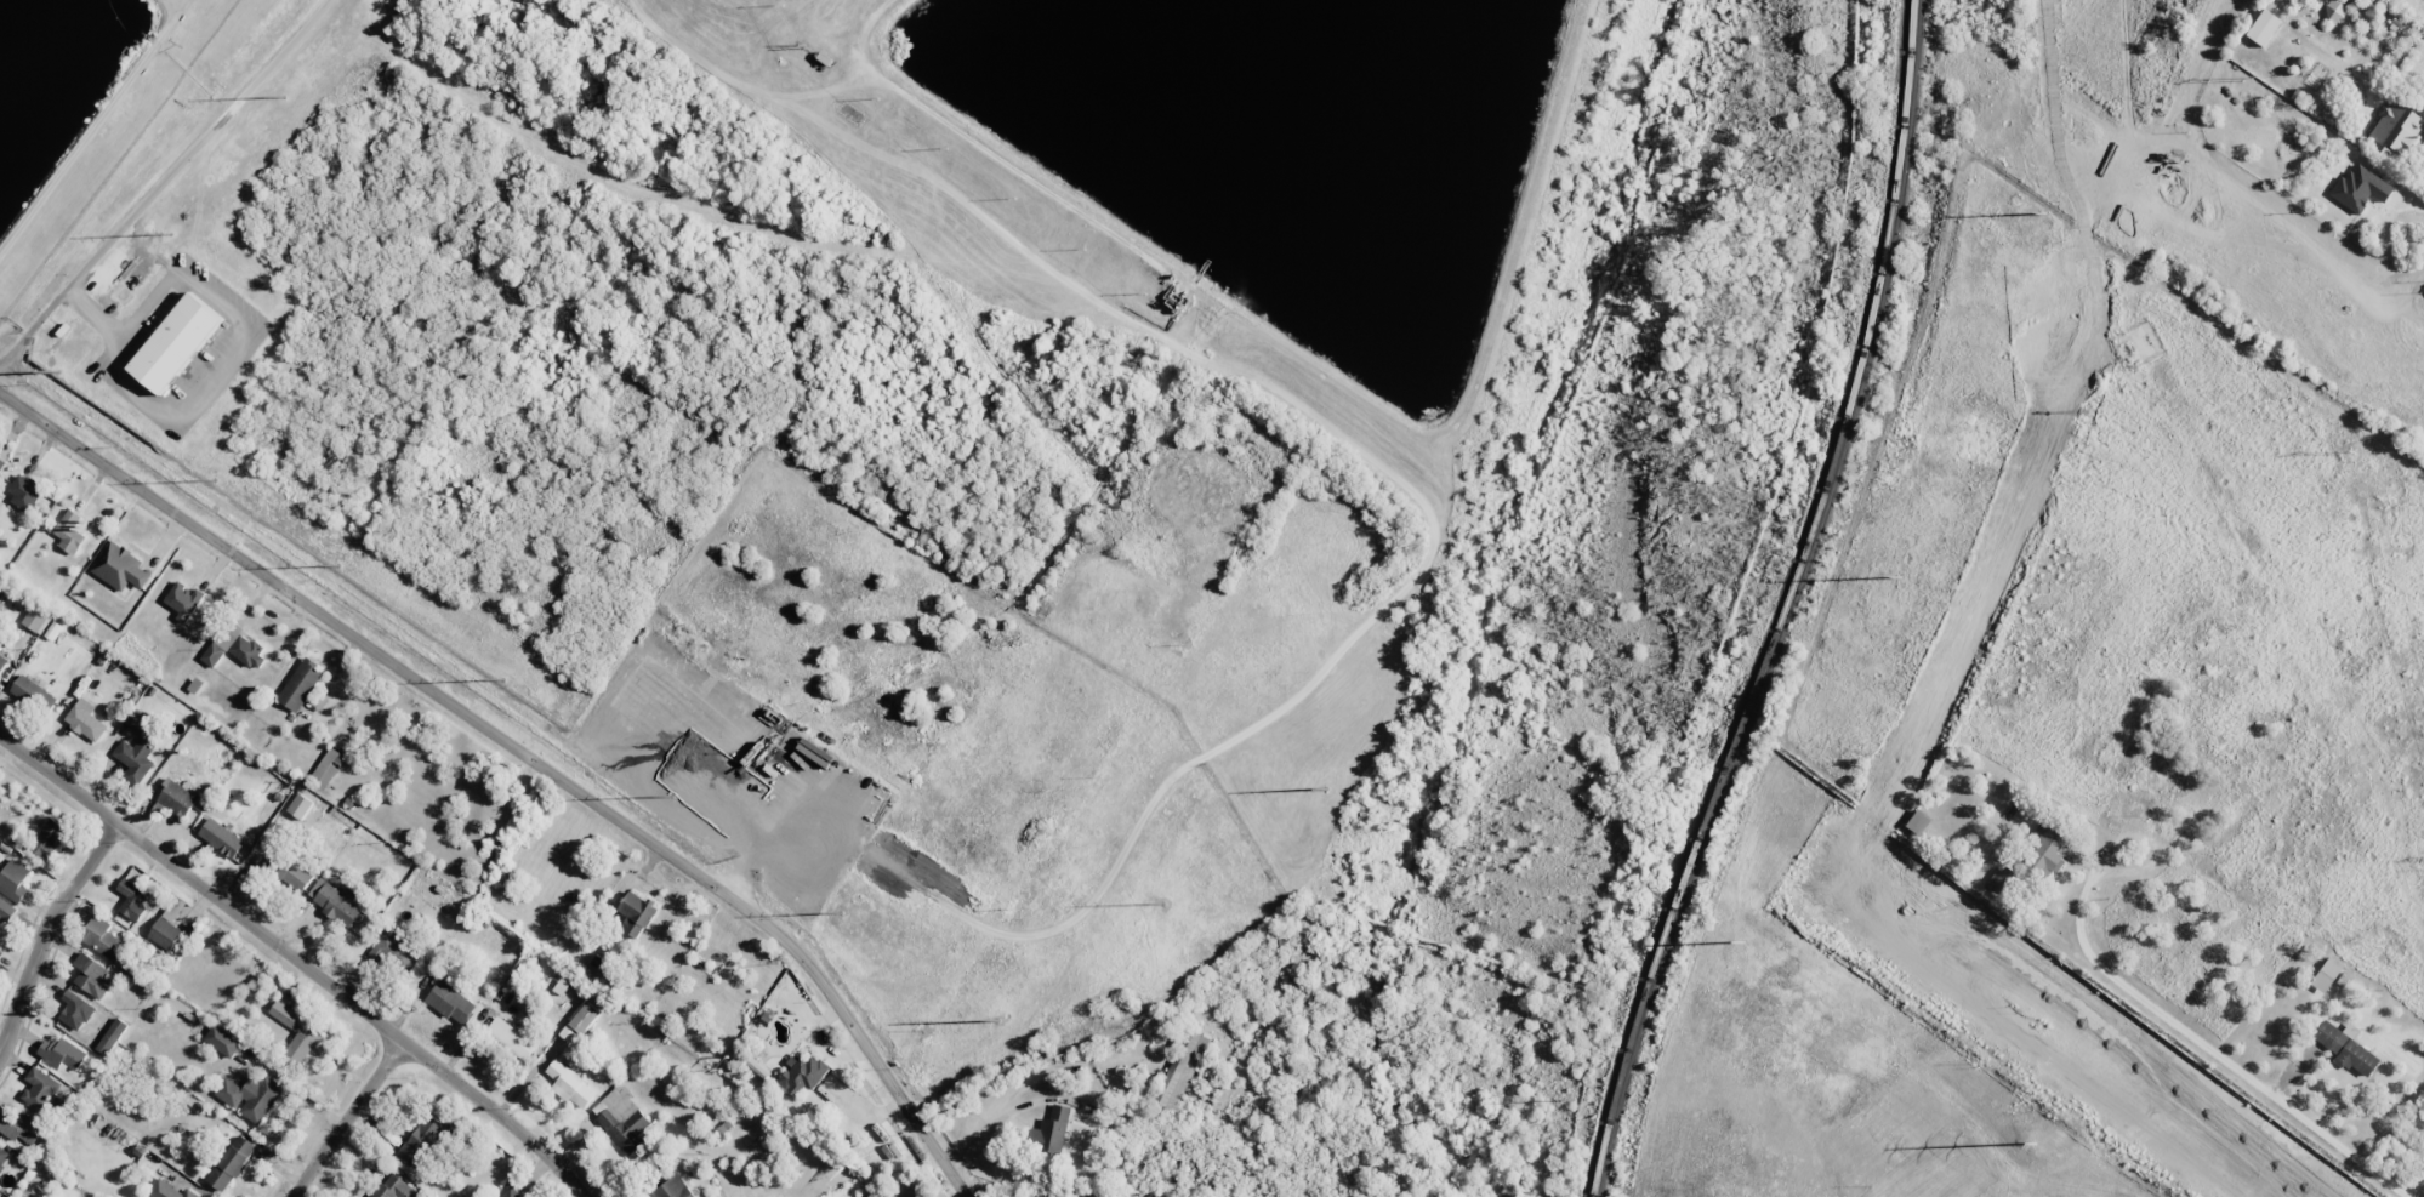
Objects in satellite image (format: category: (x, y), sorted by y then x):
building: (2333, 10)
building: (2263, 28)
power tower: (773, 59)
power tower: (2247, 76)
building: (2395, 130)
power tower: (2042, 213)
power tower: (986, 338)
building: (176, 343)
power tower: (2345, 451)
building: (24, 491)
building: (70, 531)
building: (120, 566)
power tower: (1897, 578)
building: (183, 599)
railway: (1779, 604)
building: (35, 617)
power tower: (1201, 619)
building: (247, 650)
building: (214, 654)
building: (2, 661)
building: (300, 685)
building: (34, 694)
building: (86, 720)
building: (138, 720)
road: (523, 753)
building: (135, 759)
building: (329, 765)
building: (177, 798)
building: (300, 806)
power tower: (1343, 806)
building: (49, 838)
building: (221, 838)
building: (2047, 851)
building: (295, 874)
building: (2003, 878)
building: (13, 880)
building: (132, 900)
building: (336, 902)
building: (173, 910)
building: (5, 912)
building: (636, 913)
road: (41, 933)
building: (165, 933)
building: (103, 937)
power tower: (1739, 944)
building: (394, 953)
building: (0, 954)
road: (297, 963)
building: (2326, 974)
building: (93, 975)
building: (451, 1003)
building: (76, 1009)
building: (585, 1018)
road: (2081, 1025)
building: (568, 1032)
building: (297, 1033)
building: (112, 1037)
building: (511, 1038)
building: (222, 1041)
building: (2345, 1047)
building: (63, 1054)
building: (1180, 1070)
building: (803, 1073)
building: (570, 1084)
building: (42, 1090)
building: (251, 1096)
building: (621, 1118)
road: (347, 1119)
building: (18, 1127)
building: (1051, 1130)
building: (422, 1141)
power tower: (2036, 1145)
building: (4, 1161)
building: (232, 1163)
building: (393, 1187)
building: (673, 1189)
building: (169, 1190)
building: (511, 1193)

